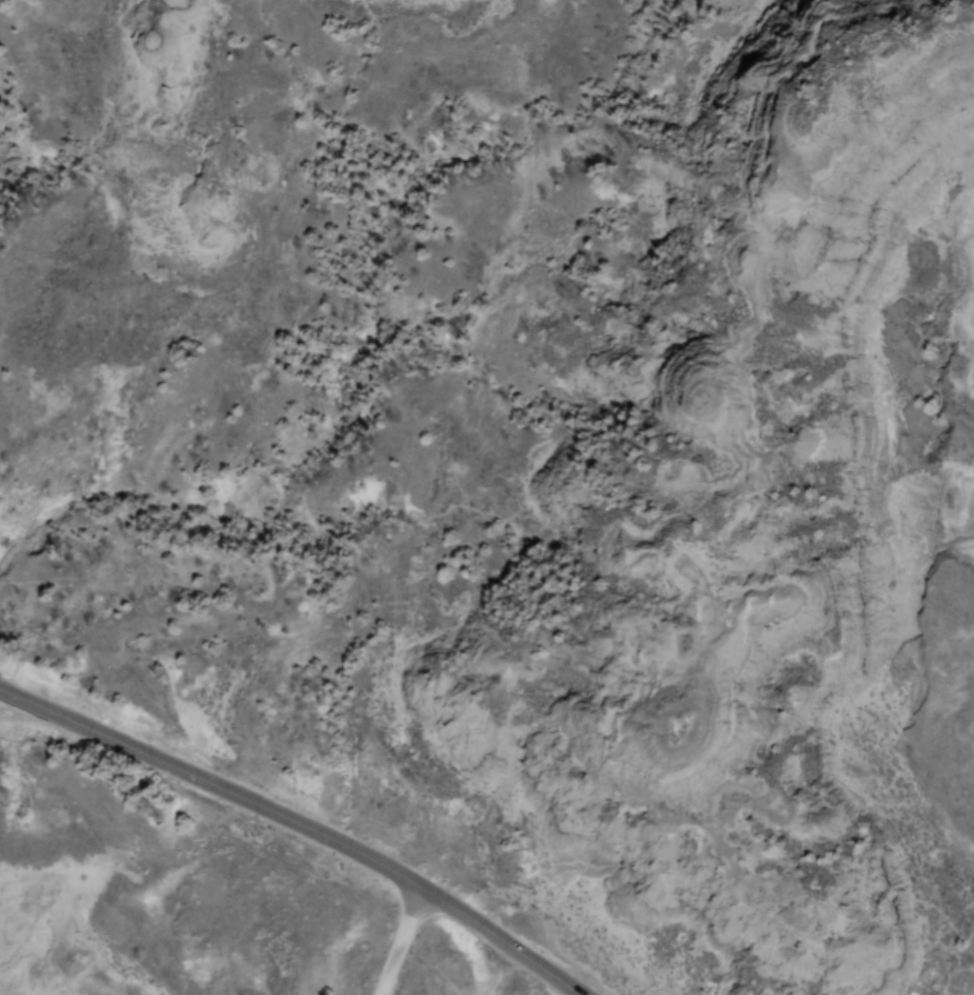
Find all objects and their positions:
road: (299, 828)
road: (408, 943)

